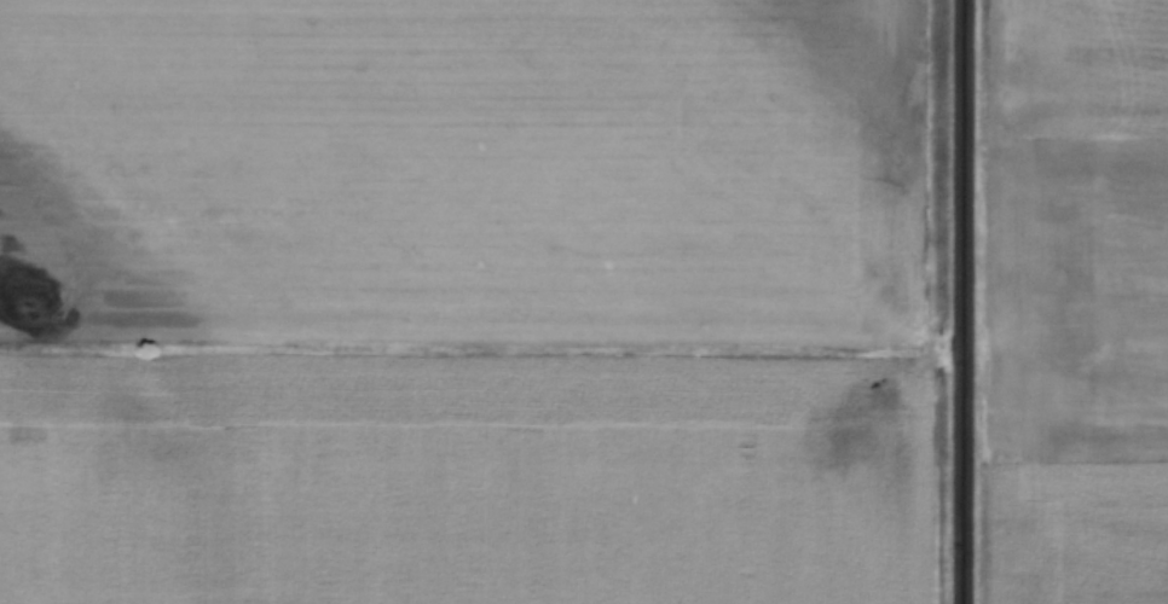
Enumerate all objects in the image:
road: (961, 302)

